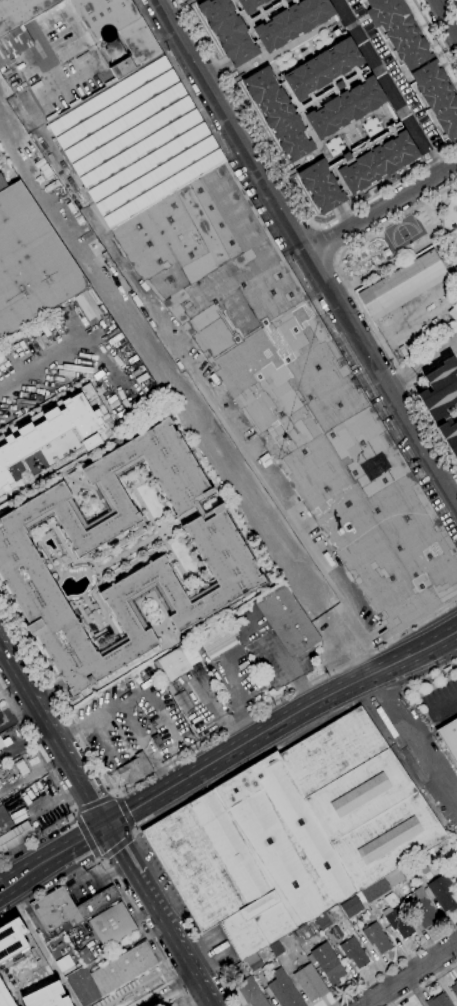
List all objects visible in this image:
road: (456, 1)
road: (443, 22)
building: (260, 24)
building: (18, 25)
building: (119, 32)
building: (399, 32)
road: (434, 37)
water tower: (114, 51)
road: (387, 86)
building: (314, 97)
building: (437, 97)
road: (232, 165)
building: (358, 168)
road: (287, 184)
road: (383, 206)
road: (437, 227)
park: (401, 232)
park: (399, 240)
road: (310, 250)
building: (386, 252)
road: (394, 258)
building: (30, 263)
building: (402, 285)
road: (360, 304)
building: (453, 312)
building: (258, 334)
road: (67, 352)
building: (2, 360)
road: (422, 362)
road: (184, 399)
building: (441, 401)
road: (277, 497)
building: (225, 557)
building: (94, 606)
building: (86, 611)
building: (287, 620)
building: (217, 639)
building: (175, 664)
road: (430, 674)
road: (284, 696)
road: (58, 698)
road: (235, 701)
road: (445, 704)
building: (0, 716)
road: (280, 721)
building: (1, 722)
road: (53, 733)
building: (449, 738)
building: (5, 742)
building: (157, 742)
road: (409, 744)
building: (20, 767)
building: (134, 769)
road: (60, 787)
road: (114, 796)
road: (117, 797)
building: (361, 797)
road: (94, 803)
road: (75, 809)
road: (125, 813)
road: (73, 816)
traffic signals: (107, 823)
road: (133, 831)
building: (11, 832)
road: (132, 834)
road: (85, 837)
building: (285, 839)
road: (117, 847)
road: (53, 855)
road: (95, 860)
road: (103, 860)
building: (419, 868)
building: (216, 875)
road: (137, 876)
building: (395, 877)
road: (115, 882)
road: (89, 888)
building: (443, 893)
building: (98, 902)
building: (365, 907)
building: (389, 907)
building: (421, 909)
building: (56, 911)
building: (324, 920)
building: (111, 925)
building: (301, 934)
building: (376, 937)
building: (11, 939)
building: (276, 949)
road: (182, 952)
building: (353, 953)
building: (84, 955)
building: (253, 962)
building: (327, 963)
road: (394, 965)
building: (123, 968)
road: (409, 974)
building: (309, 982)
road: (424, 984)
building: (454, 988)
road: (230, 989)
building: (283, 990)
road: (204, 991)
building: (250, 993)
building: (45, 996)
building: (4, 998)
building: (438, 1001)

